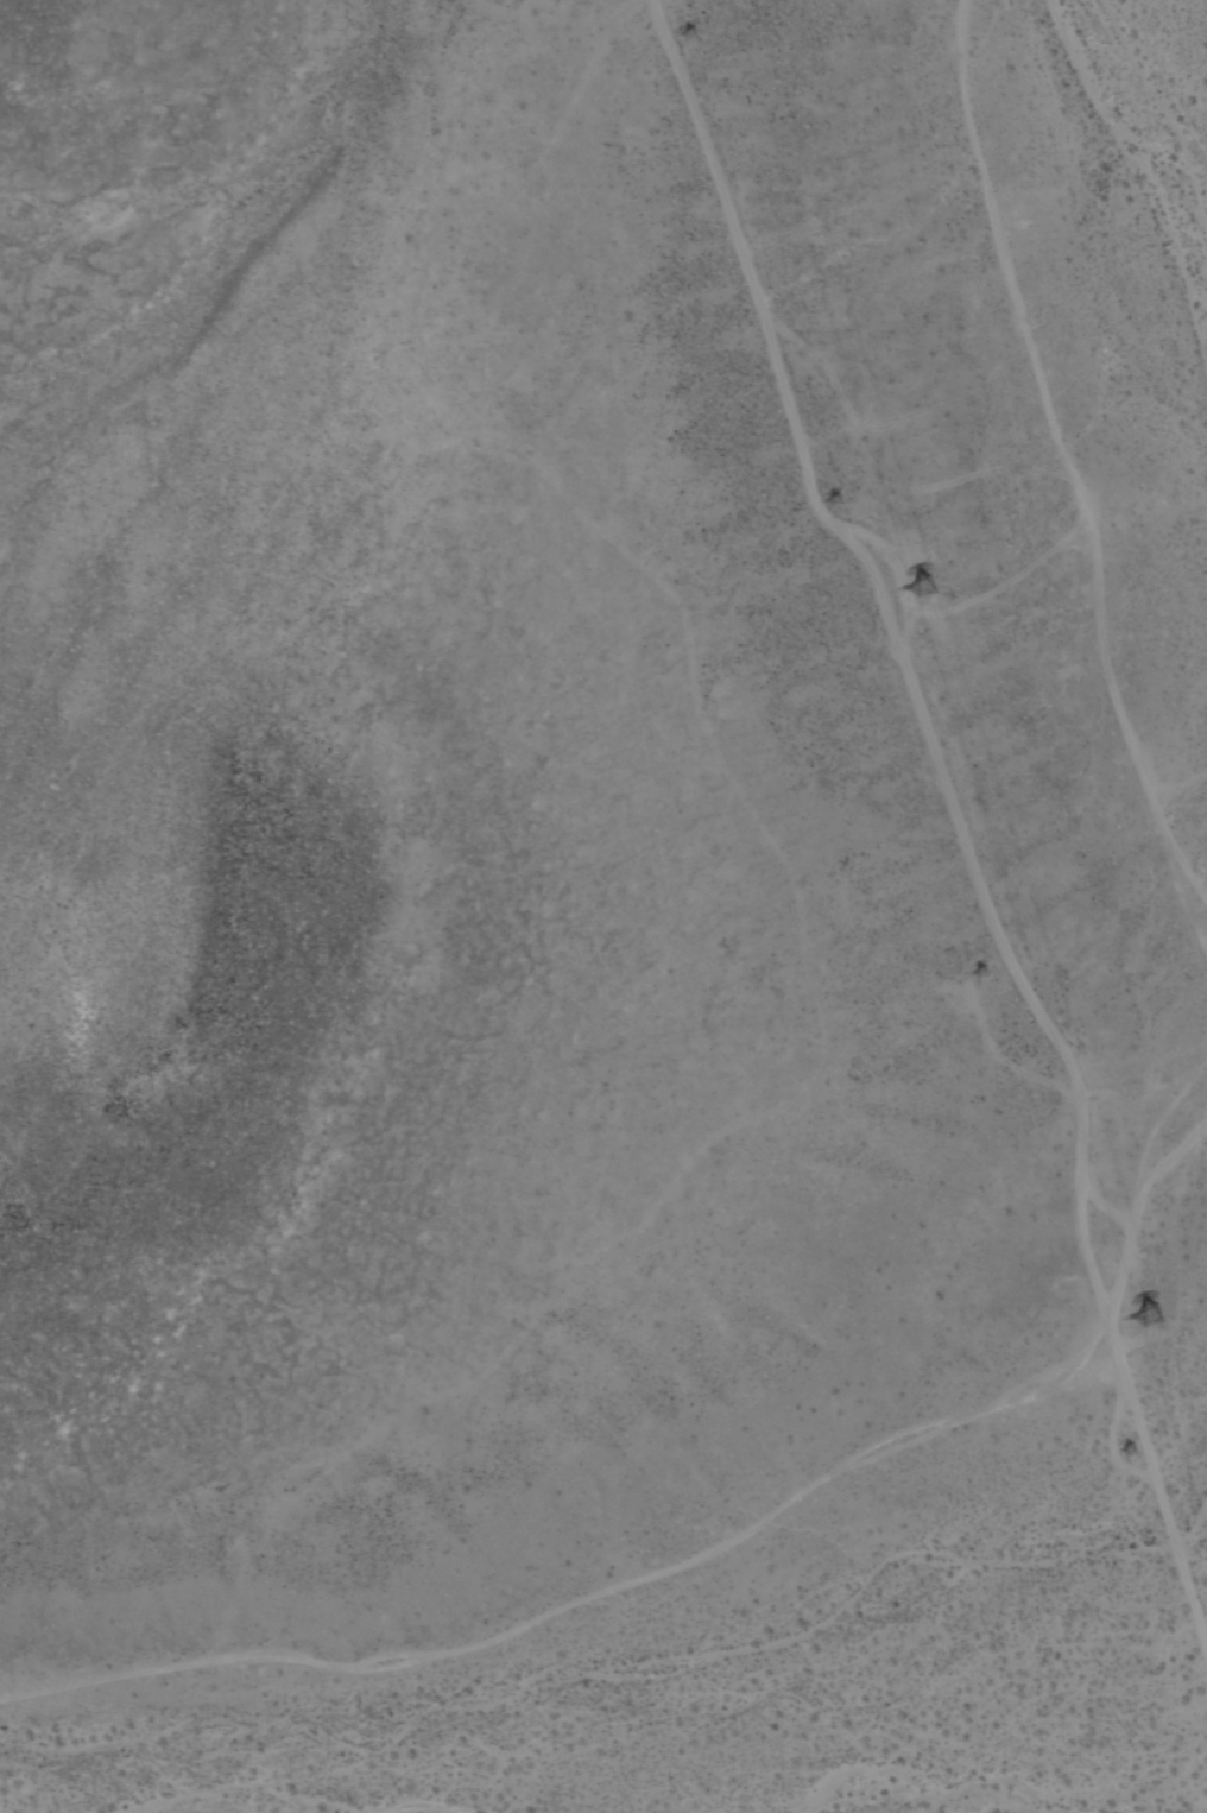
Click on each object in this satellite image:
power tower: (695, 36)
power tower: (838, 501)
power tower: (924, 592)
power tower: (978, 974)
power tower: (1149, 1322)
power tower: (1120, 1455)

